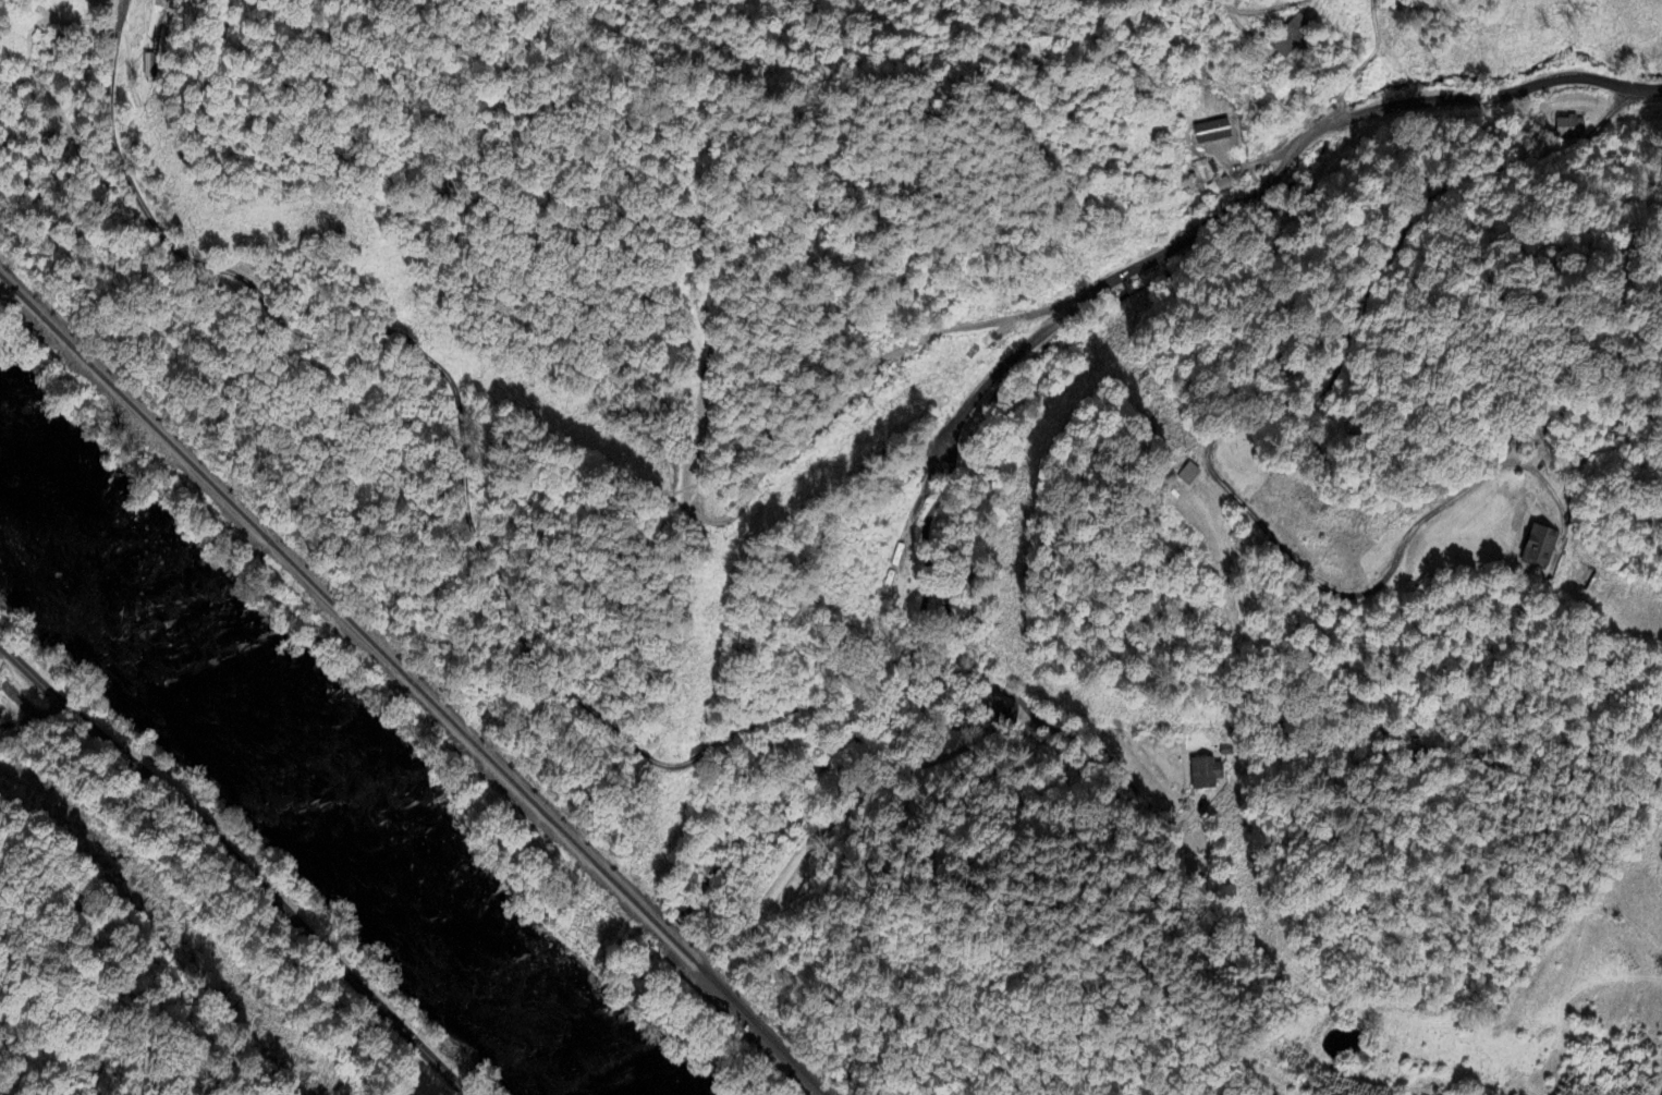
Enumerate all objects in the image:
building: (1298, 39)
building: (1565, 130)
building: (1217, 138)
building: (1202, 172)
road: (1270, 181)
building: (1213, 192)
road: (1262, 382)
building: (1541, 546)
railway: (411, 683)
river: (307, 781)
road: (240, 862)

